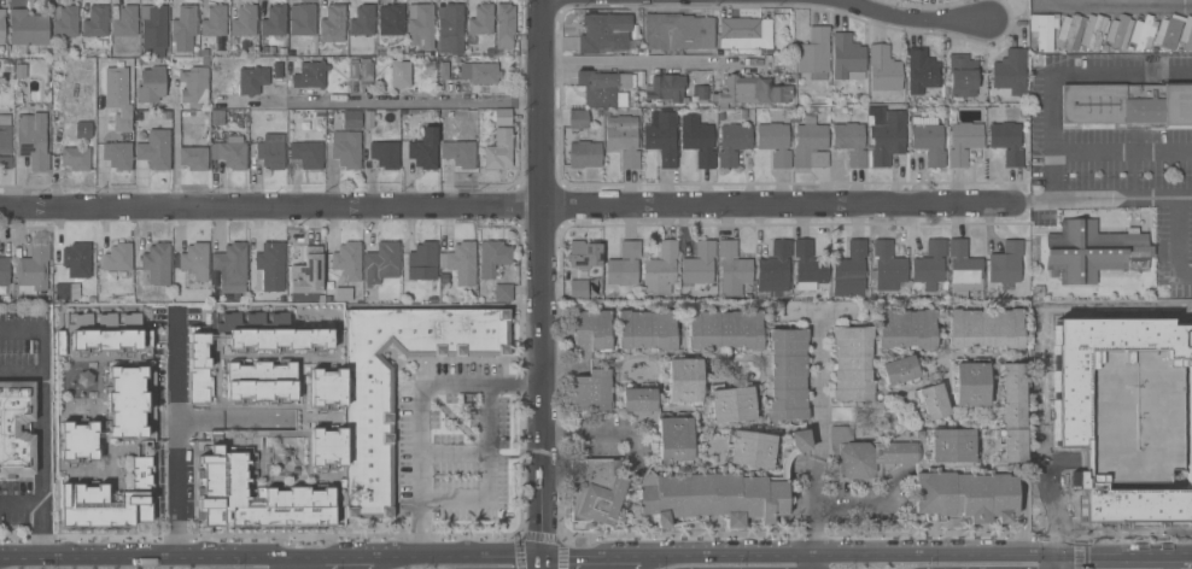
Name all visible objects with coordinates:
road: (1112, 4)
building: (302, 19)
road: (912, 19)
building: (64, 20)
building: (93, 20)
building: (362, 20)
building: (124, 22)
building: (214, 22)
building: (244, 22)
building: (273, 22)
building: (332, 24)
building: (390, 24)
building: (480, 24)
building: (1, 25)
building: (182, 25)
building: (420, 25)
building: (504, 25)
building: (27, 28)
building: (153, 28)
building: (449, 28)
building: (1042, 30)
building: (1092, 31)
building: (603, 33)
building: (677, 33)
building: (1068, 33)
building: (1118, 33)
building: (1167, 33)
building: (1143, 34)
building: (1186, 34)
building: (746, 35)
building: (813, 53)
building: (847, 58)
road: (653, 63)
building: (352, 70)
building: (443, 70)
building: (882, 71)
building: (921, 71)
building: (1010, 71)
building: (364, 72)
building: (478, 72)
building: (398, 74)
road: (1059, 74)
building: (309, 75)
building: (962, 75)
building: (251, 81)
building: (150, 84)
building: (194, 84)
building: (603, 87)
building: (665, 88)
building: (750, 90)
building: (701, 94)
building: (117, 96)
road: (415, 105)
building: (1127, 105)
building: (502, 116)
building: (58, 117)
building: (216, 117)
building: (347, 118)
building: (577, 118)
building: (199, 125)
building: (82, 130)
building: (5, 135)
building: (31, 137)
building: (886, 137)
building: (623, 139)
building: (661, 139)
building: (697, 139)
building: (927, 140)
building: (775, 142)
building: (849, 142)
building: (962, 142)
building: (1006, 142)
building: (731, 143)
building: (810, 146)
building: (345, 148)
building: (154, 149)
building: (423, 149)
building: (498, 149)
building: (270, 151)
building: (230, 152)
building: (458, 153)
road: (1122, 153)
building: (306, 154)
building: (384, 154)
building: (584, 154)
building: (117, 156)
road: (174, 156)
building: (193, 157)
building: (75, 158)
building: (6, 163)
road: (1121, 199)
road: (1033, 201)
road: (507, 206)
road: (1176, 244)
building: (1082, 252)
building: (117, 257)
building: (270, 257)
building: (492, 257)
building: (76, 259)
building: (195, 262)
building: (419, 262)
building: (460, 262)
building: (381, 263)
building: (1005, 263)
building: (157, 264)
building: (624, 265)
building: (929, 265)
building: (583, 266)
building: (700, 266)
building: (807, 266)
building: (887, 266)
building: (230, 268)
building: (964, 268)
building: (732, 269)
building: (4, 270)
building: (31, 270)
building: (347, 270)
building: (660, 270)
building: (773, 270)
building: (849, 270)
building: (306, 272)
road: (545, 275)
building: (66, 291)
building: (503, 293)
building: (984, 328)
building: (645, 329)
building: (723, 329)
building: (905, 329)
building: (589, 333)
building: (279, 341)
building: (100, 342)
building: (852, 363)
building: (198, 369)
building: (898, 370)
building: (787, 375)
building: (683, 380)
building: (258, 382)
building: (969, 385)
building: (326, 388)
building: (591, 391)
building: (1068, 400)
building: (931, 401)
building: (125, 403)
building: (730, 404)
road: (419, 405)
building: (1011, 412)
building: (658, 424)
building: (16, 427)
road: (589, 432)
road: (41, 440)
road: (180, 441)
building: (77, 442)
building: (368, 445)
building: (949, 445)
building: (326, 448)
building: (749, 450)
building: (864, 454)
building: (1190, 469)
road: (489, 471)
building: (140, 474)
building: (594, 489)
building: (718, 494)
building: (255, 497)
building: (963, 498)
road: (854, 500)
building: (1141, 505)
building: (101, 506)
road: (812, 512)
road: (1180, 550)
traffic signals: (544, 551)
road: (591, 551)
road: (457, 552)
road: (726, 552)
road: (992, 552)
traffic signals: (1058, 552)
road: (148, 553)
road: (335, 553)
road: (544, 559)
road: (1169, 559)
road: (299, 561)
road: (813, 561)
road: (1058, 561)

